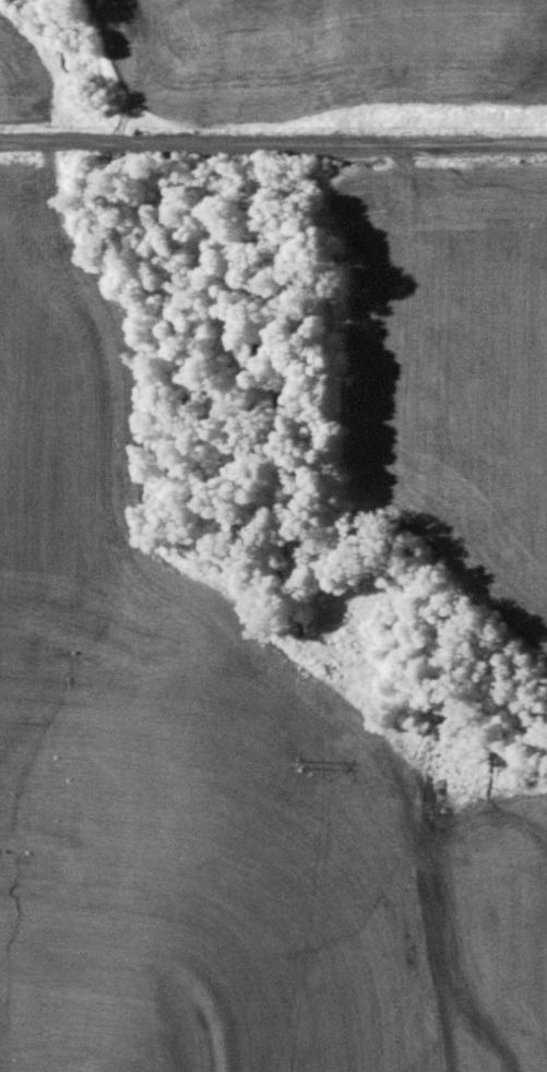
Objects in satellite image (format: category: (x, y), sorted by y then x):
road: (273, 141)

